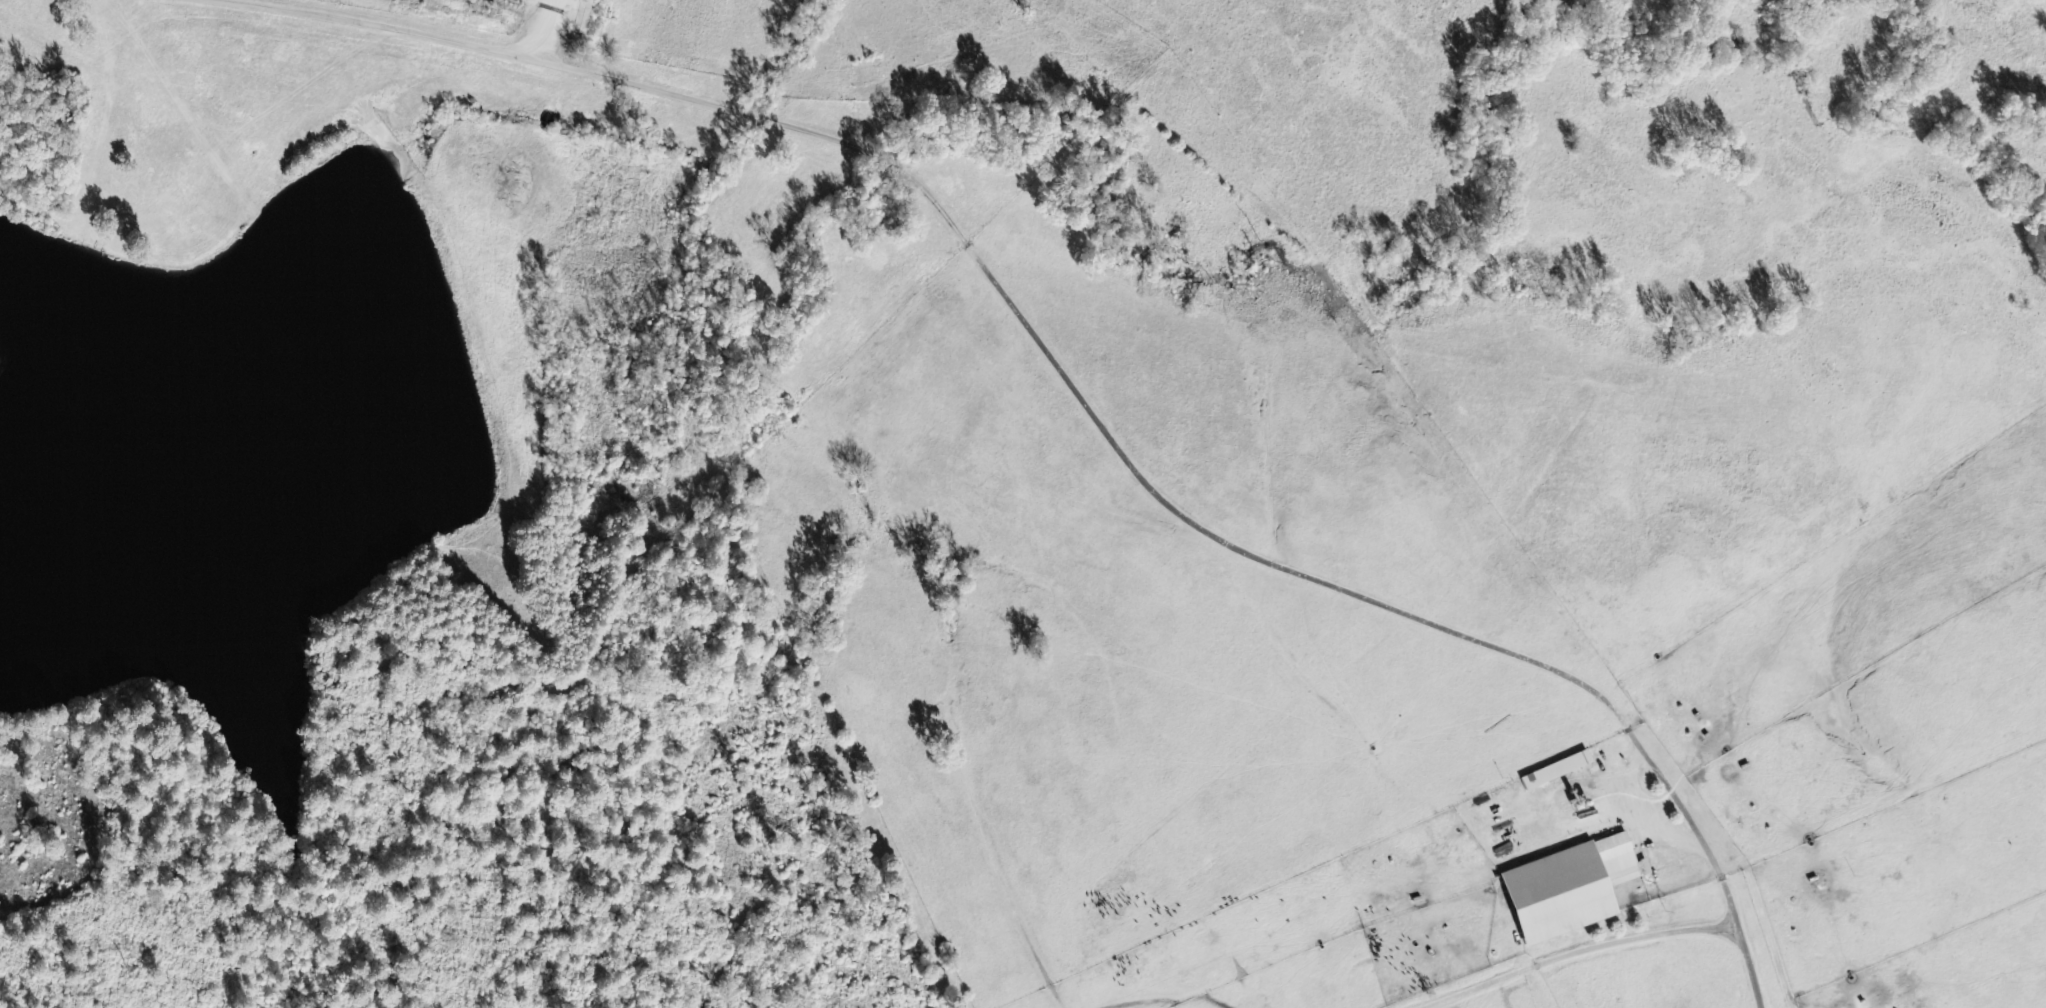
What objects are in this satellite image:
road: (389, 26)
road: (1186, 523)
building: (1557, 771)
building: (1572, 889)

